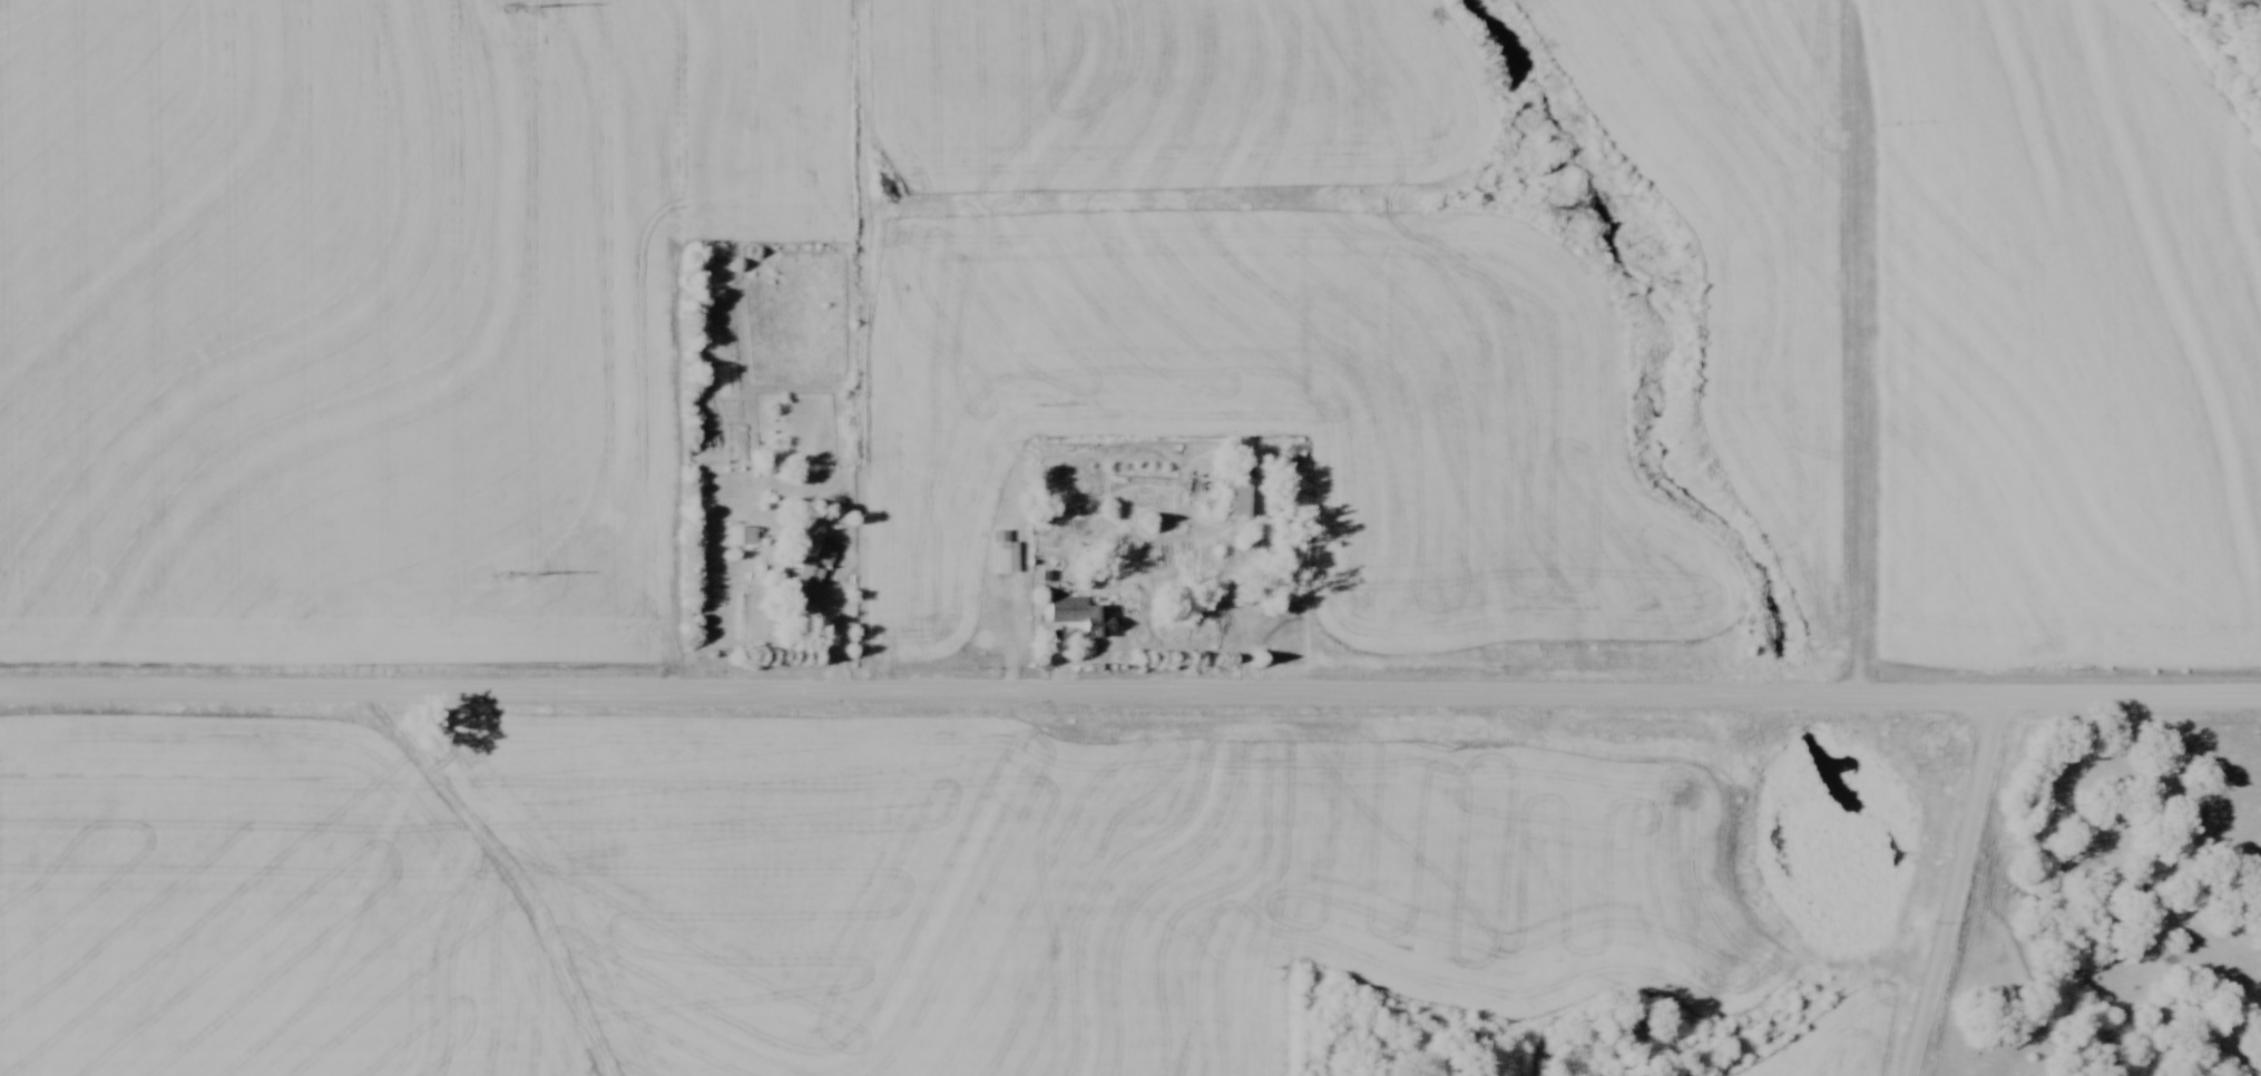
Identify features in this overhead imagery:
power tower: (515, 4)
building: (1247, 496)
building: (742, 535)
building: (1004, 552)
building: (824, 554)
power tower: (517, 574)
building: (806, 583)
road: (1241, 607)
building: (1081, 615)
road: (1130, 688)
road: (1950, 887)

